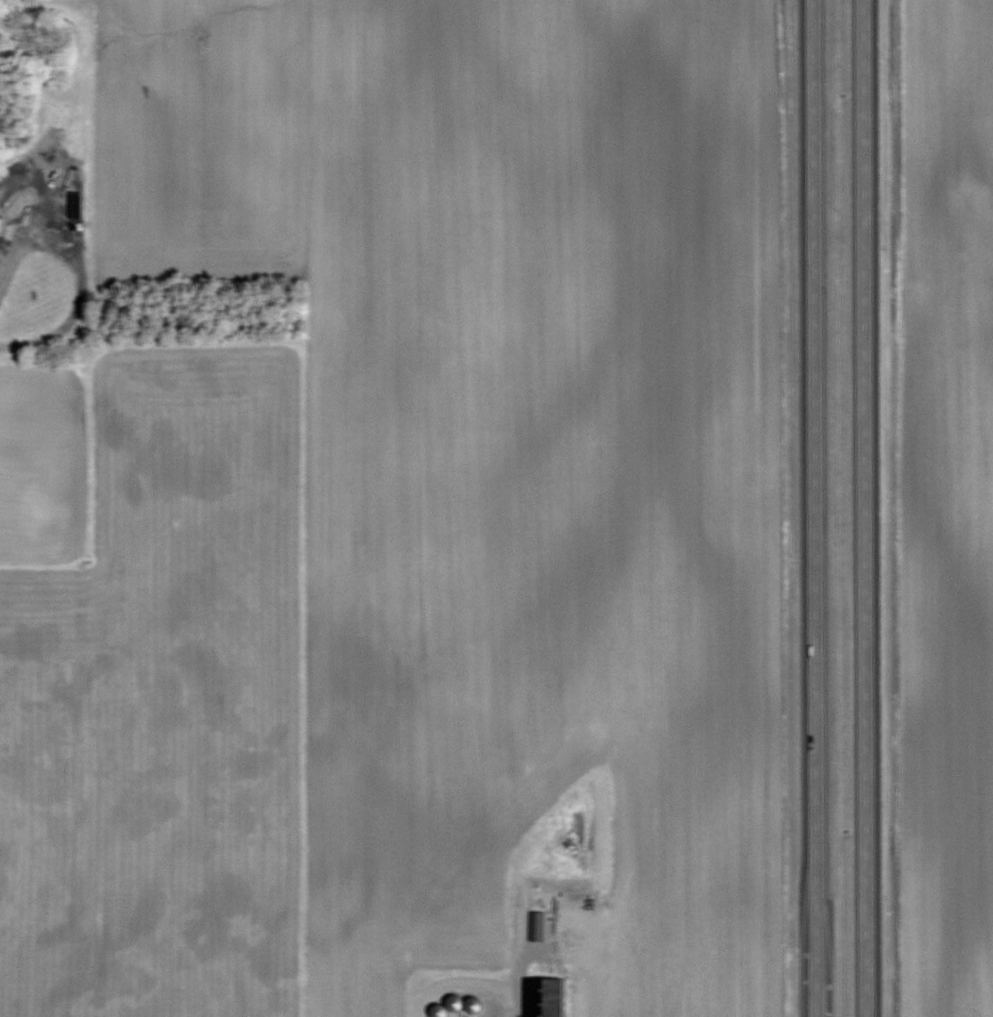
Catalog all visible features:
building: (1, 221)
road: (812, 508)
road: (865, 508)
building: (536, 915)
building: (544, 997)
building: (473, 1004)
road: (507, 1005)
building: (448, 1006)

